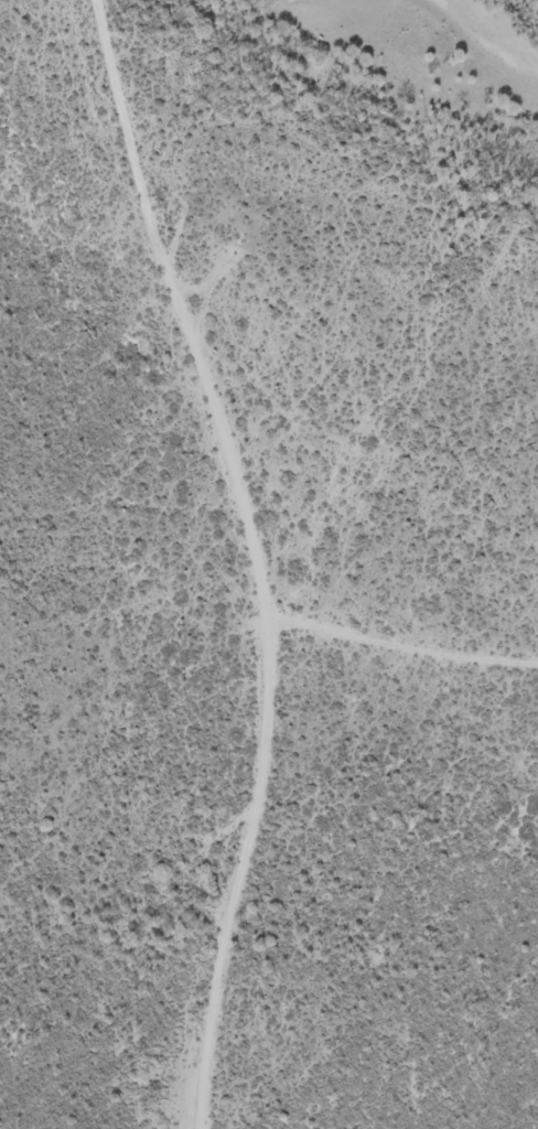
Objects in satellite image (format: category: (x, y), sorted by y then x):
road: (261, 555)

